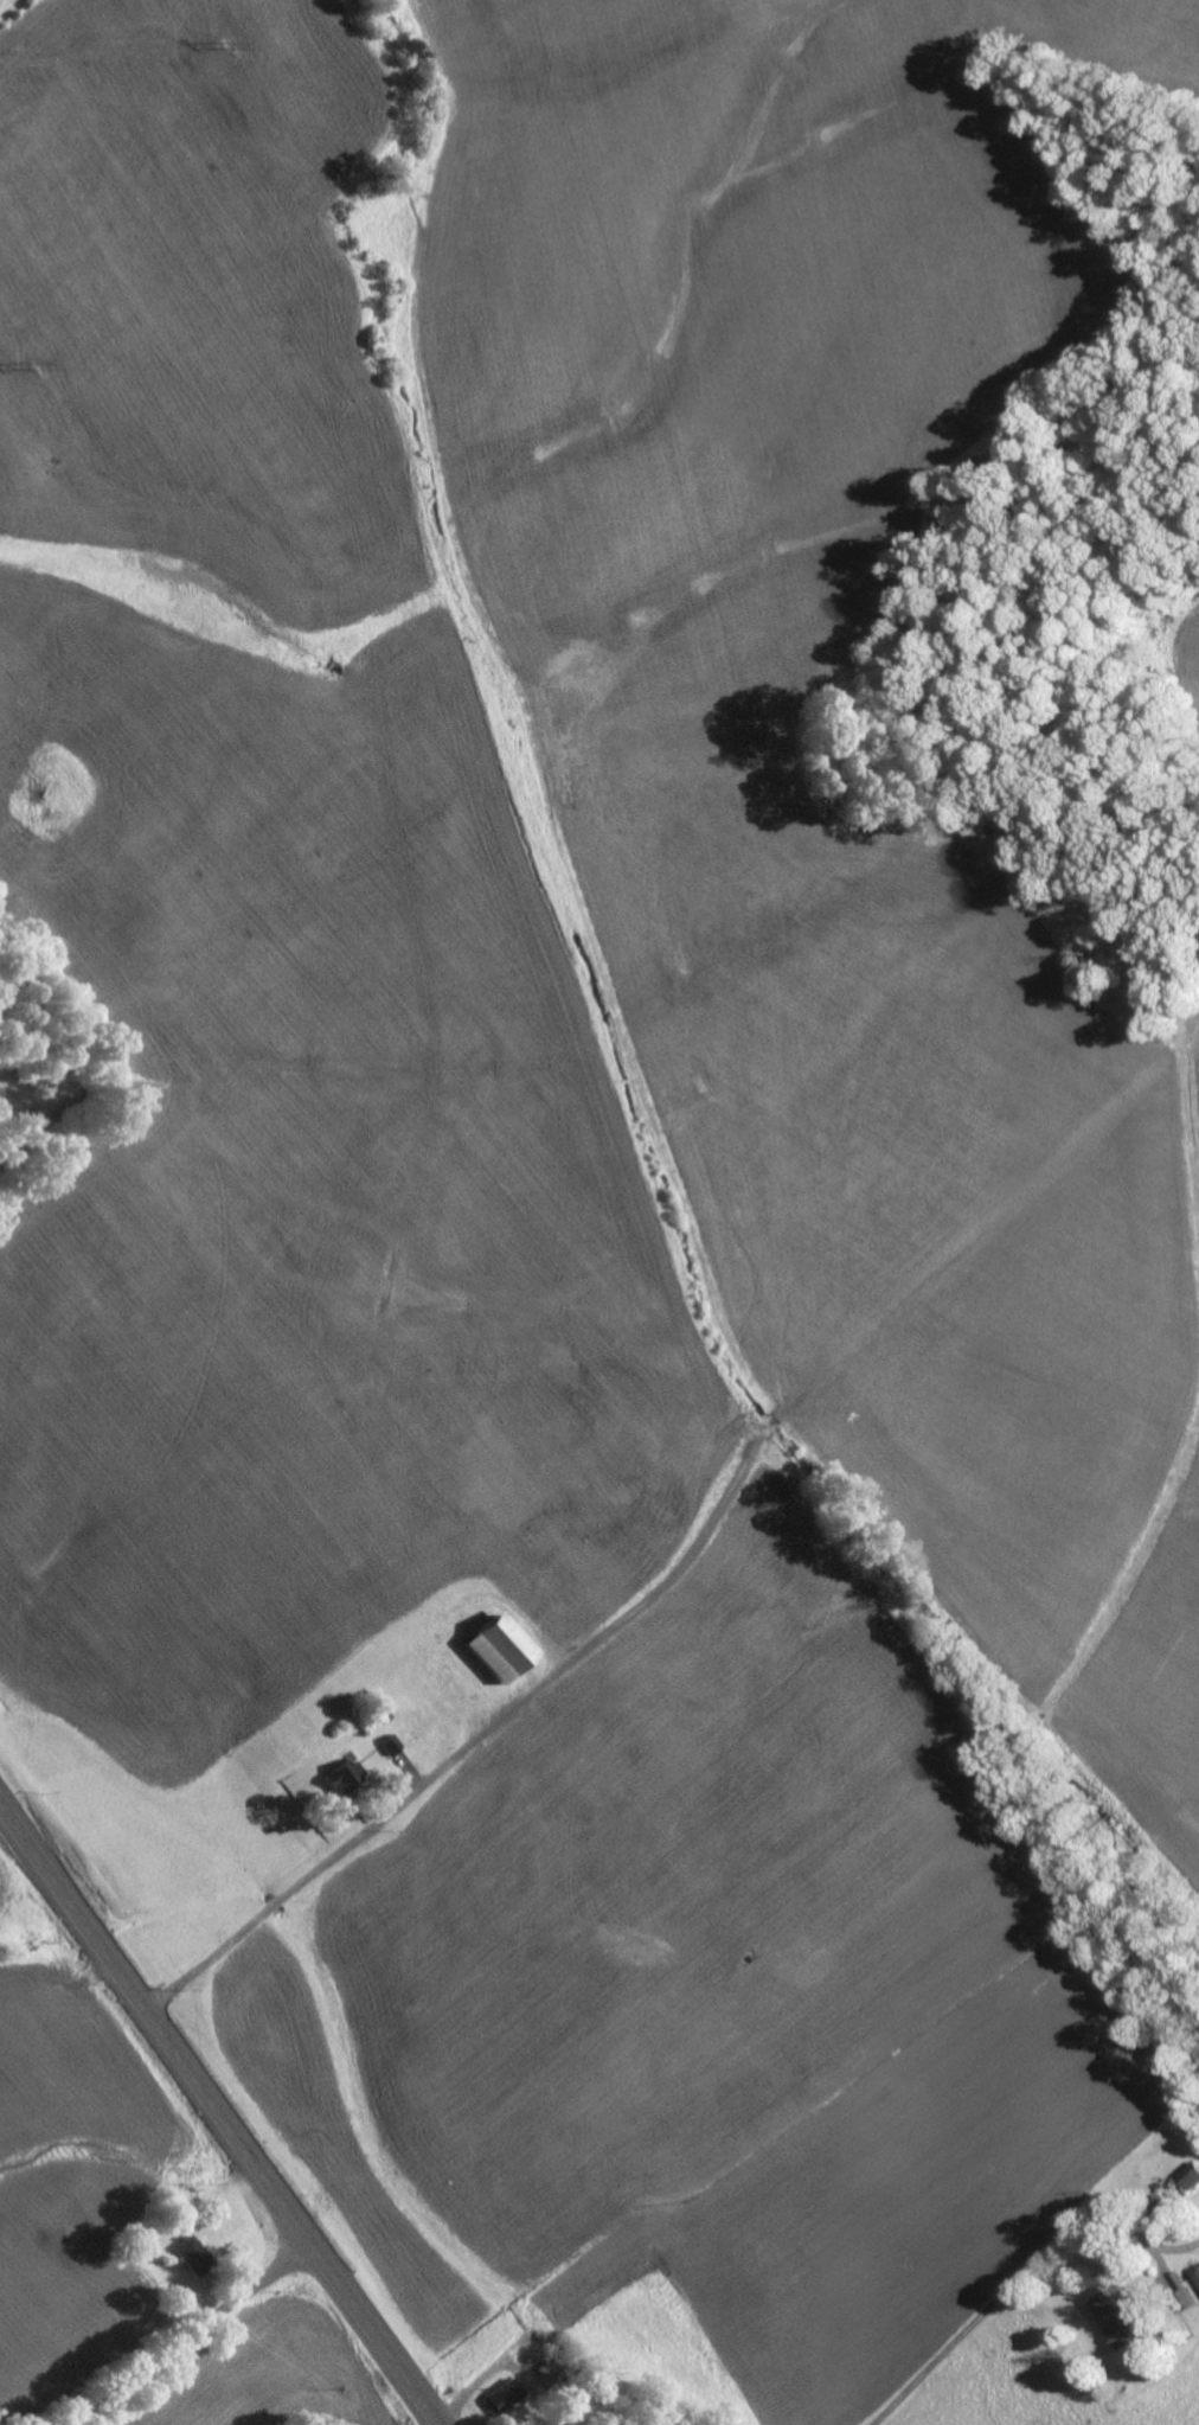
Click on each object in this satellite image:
power tower: (40, 364)
building: (489, 1646)
building: (389, 1742)
building: (340, 1773)
road: (218, 2114)
building: (1188, 2177)
building: (190, 2257)
building: (1197, 2276)
building: (1185, 2299)
building: (1111, 2320)
road: (188, 2336)
building: (504, 2393)

